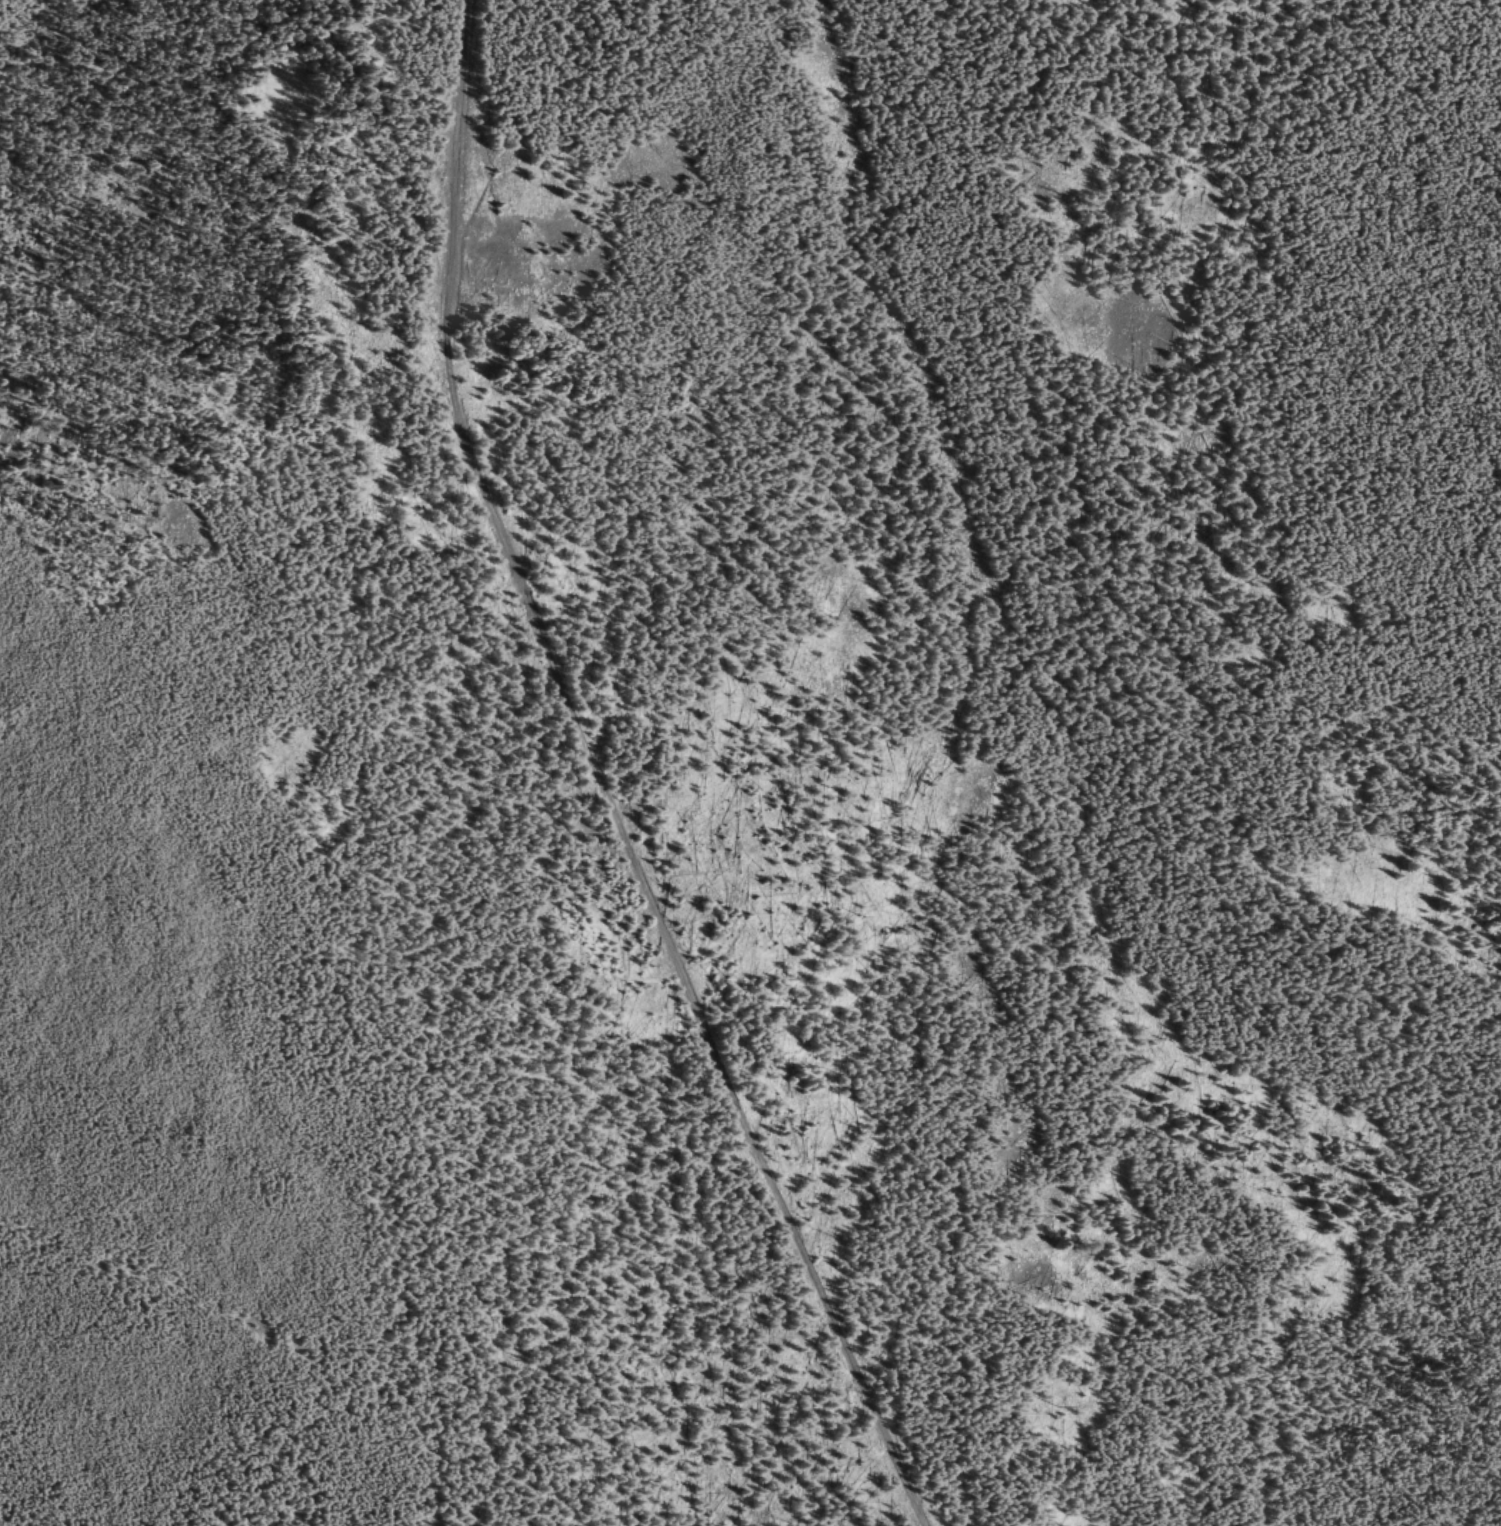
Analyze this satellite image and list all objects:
road: (269, 219)
road: (589, 782)

